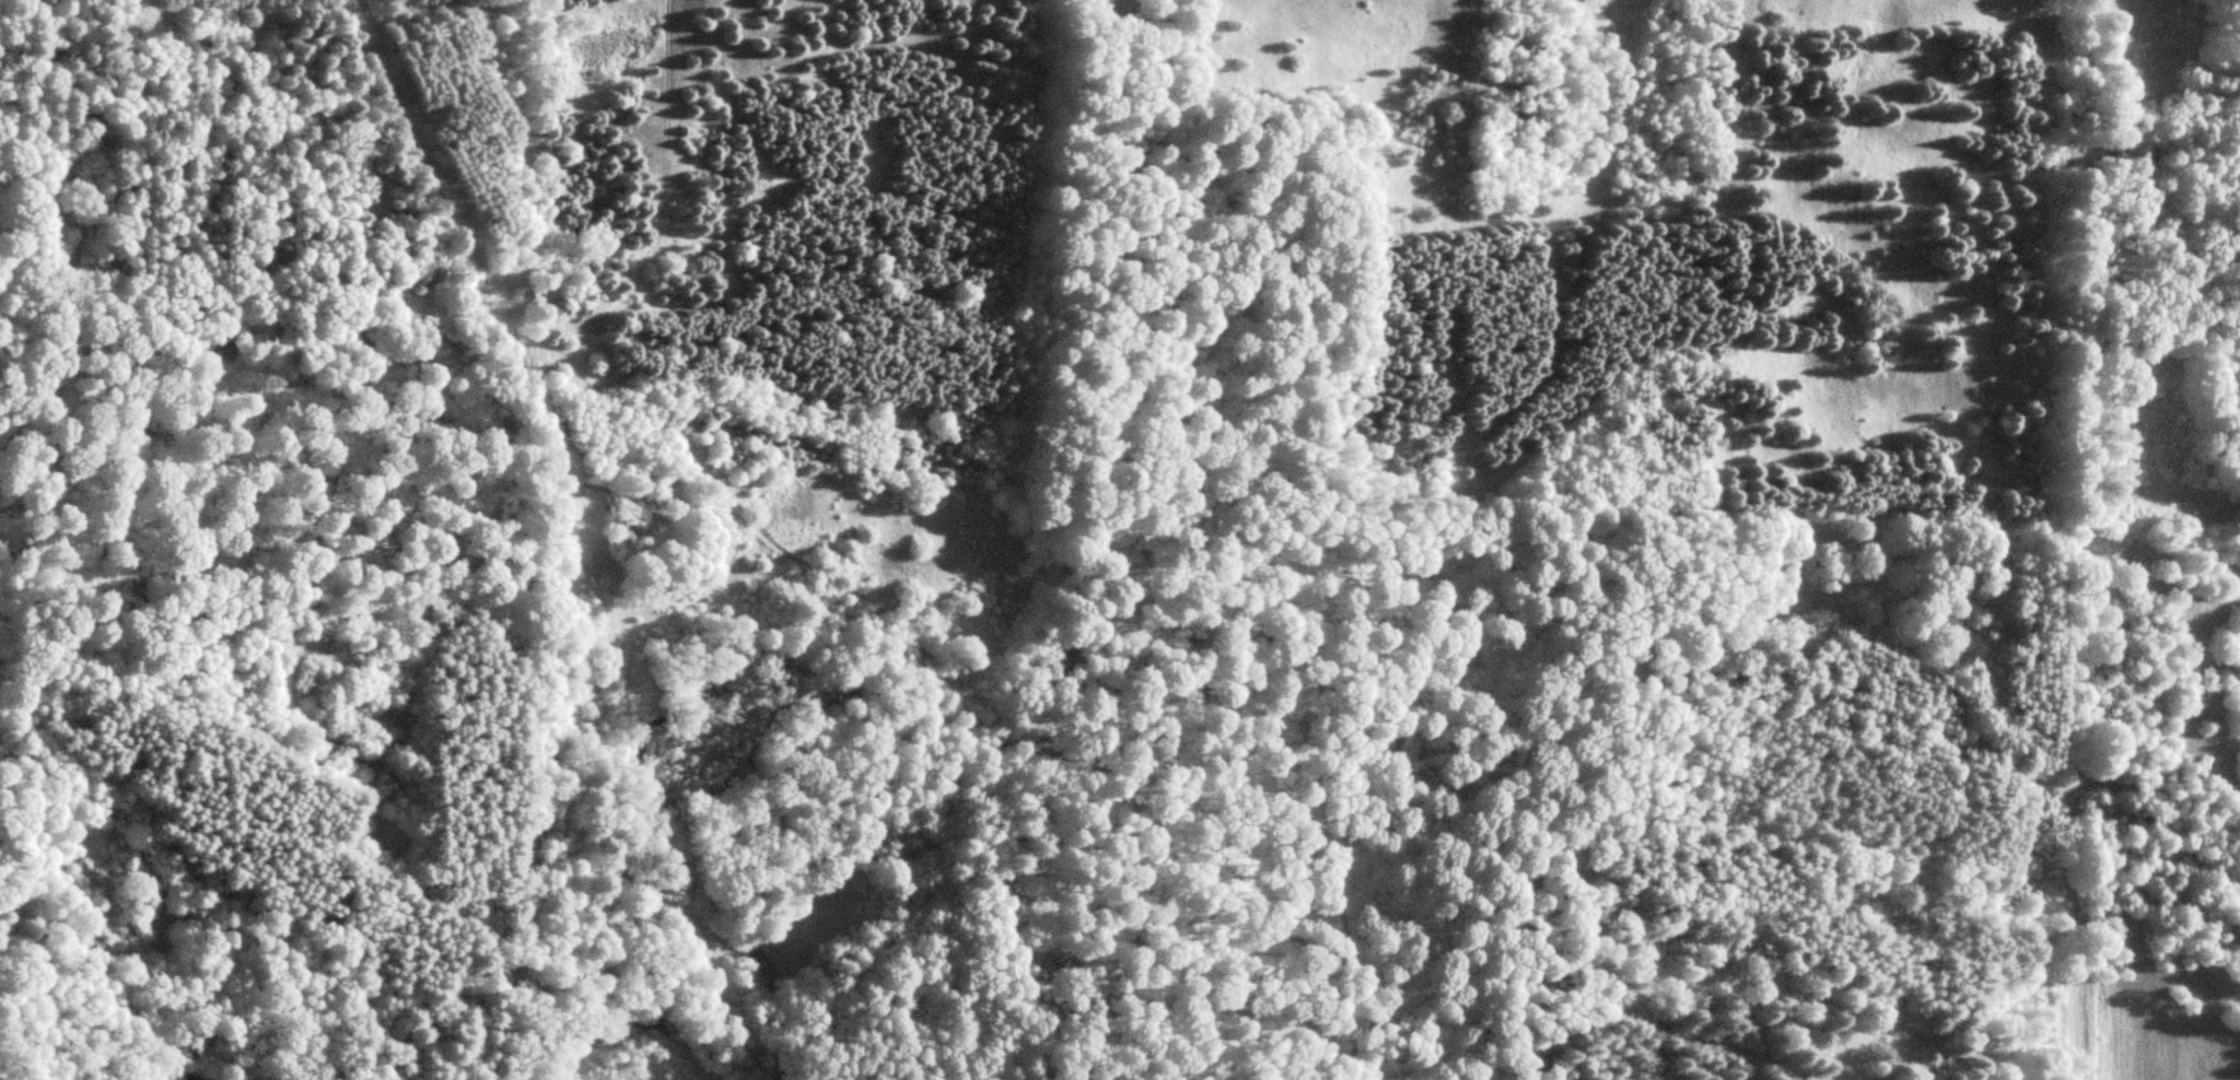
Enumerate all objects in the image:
road: (2084, 538)

